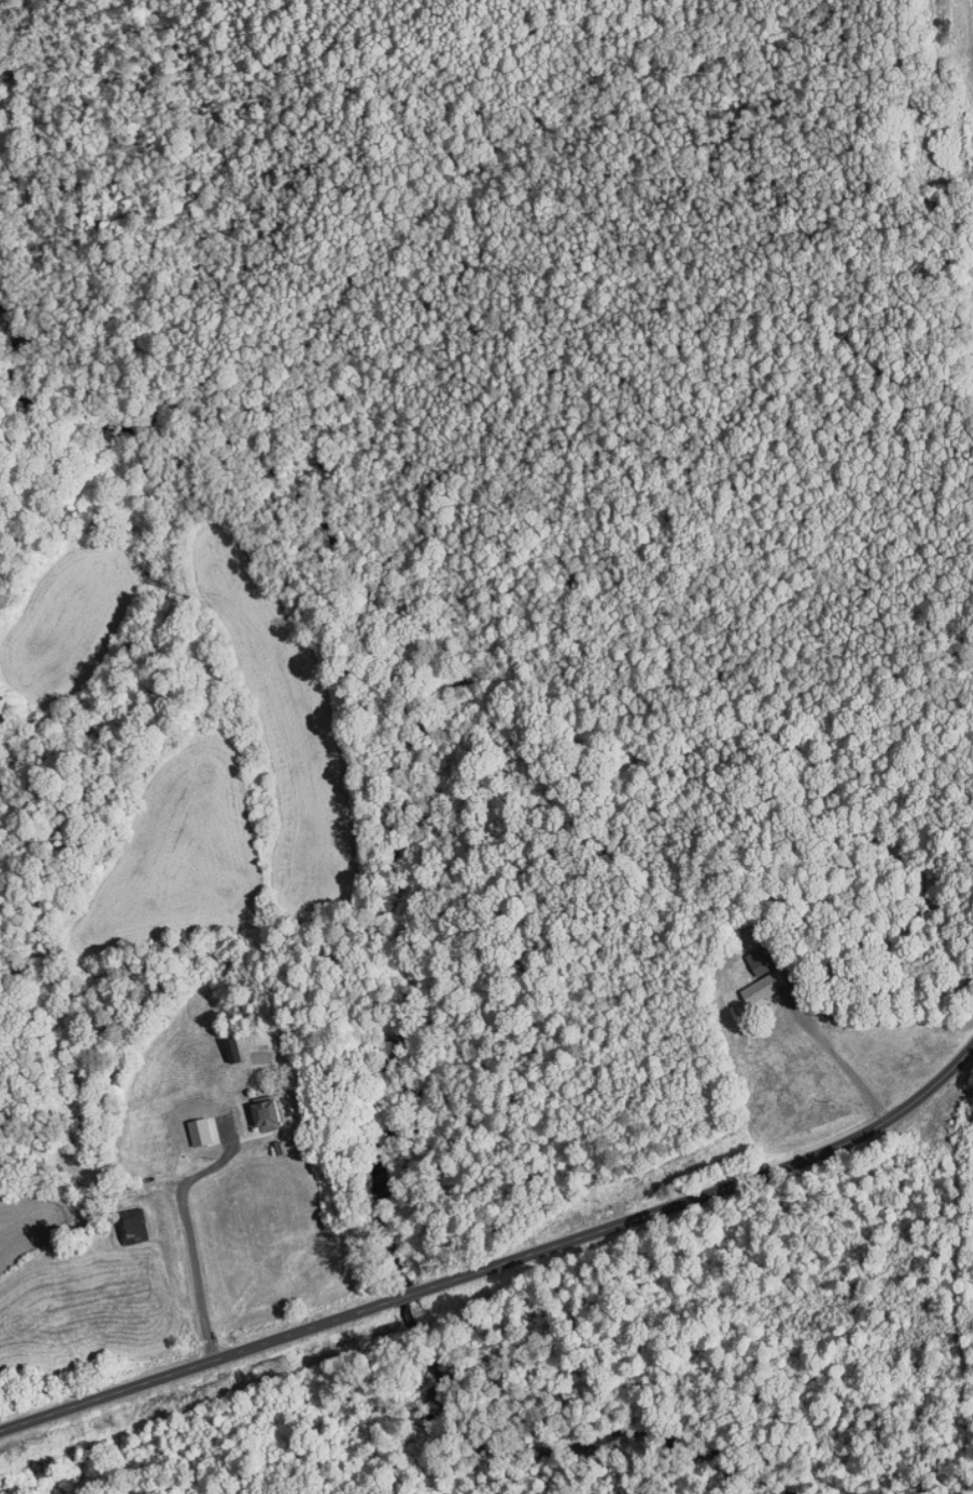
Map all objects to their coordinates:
building: (970, 31)
building: (745, 955)
building: (749, 981)
road: (827, 1041)
building: (260, 1106)
building: (193, 1125)
building: (131, 1218)
road: (180, 1241)
road: (499, 1263)

